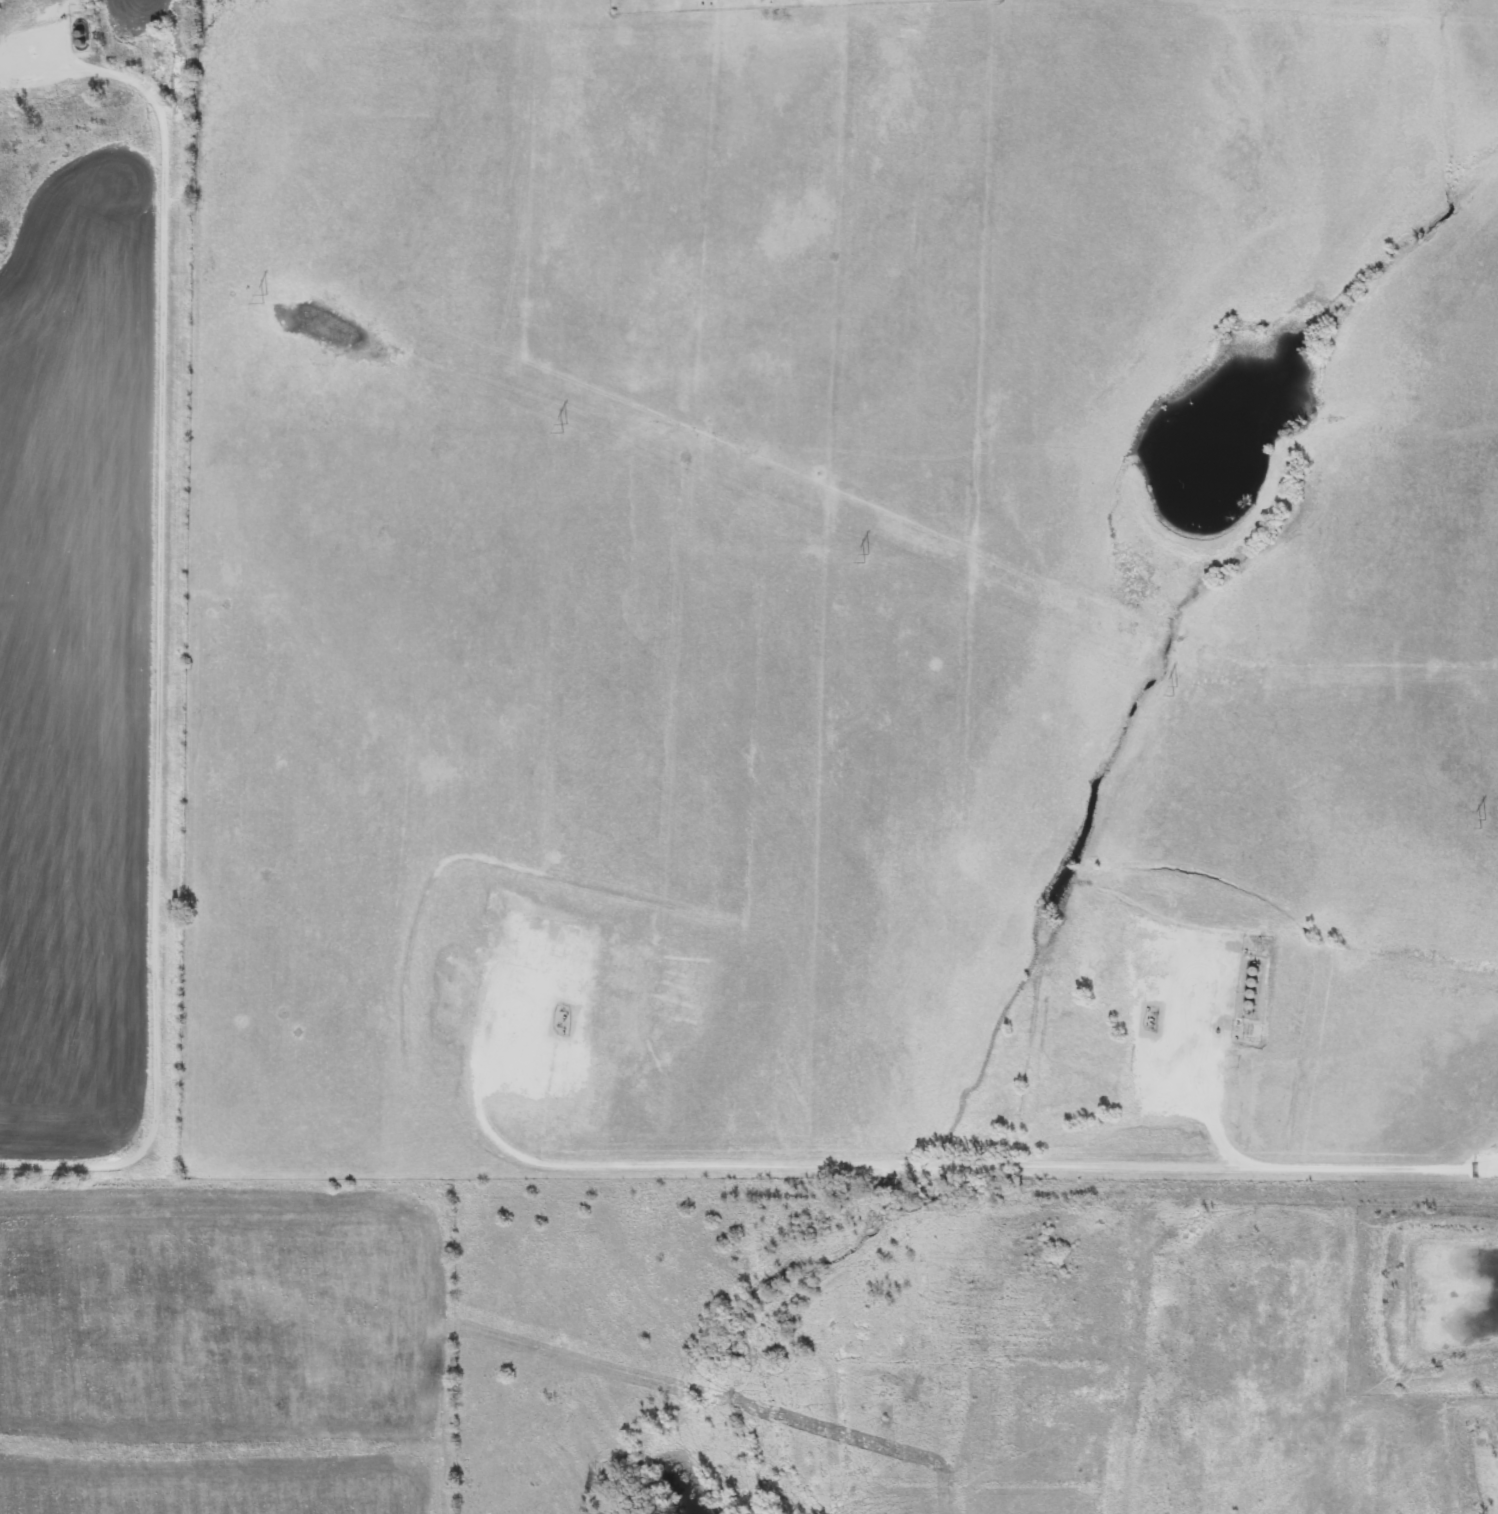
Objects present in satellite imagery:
road: (158, 648)
road: (953, 1160)

